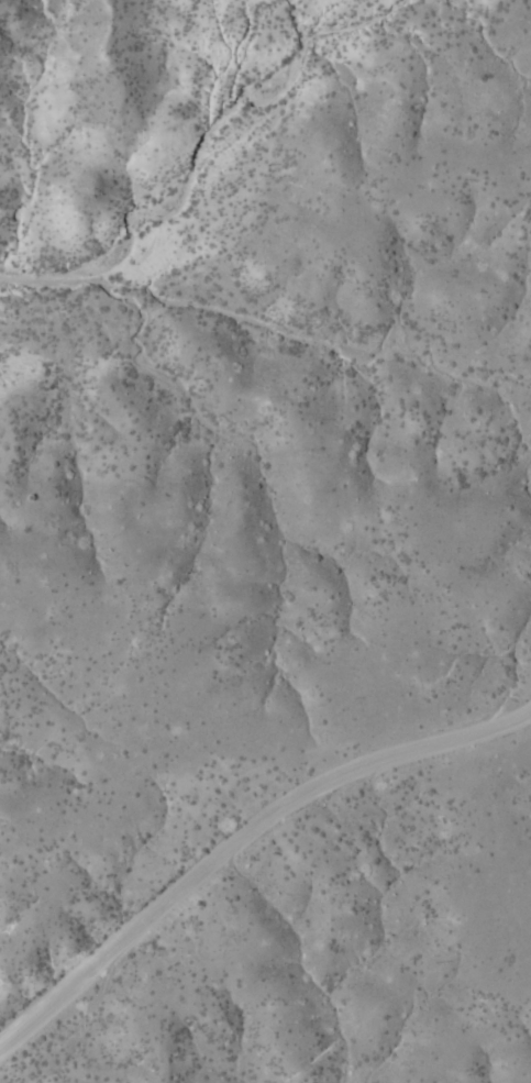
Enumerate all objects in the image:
road: (243, 839)

